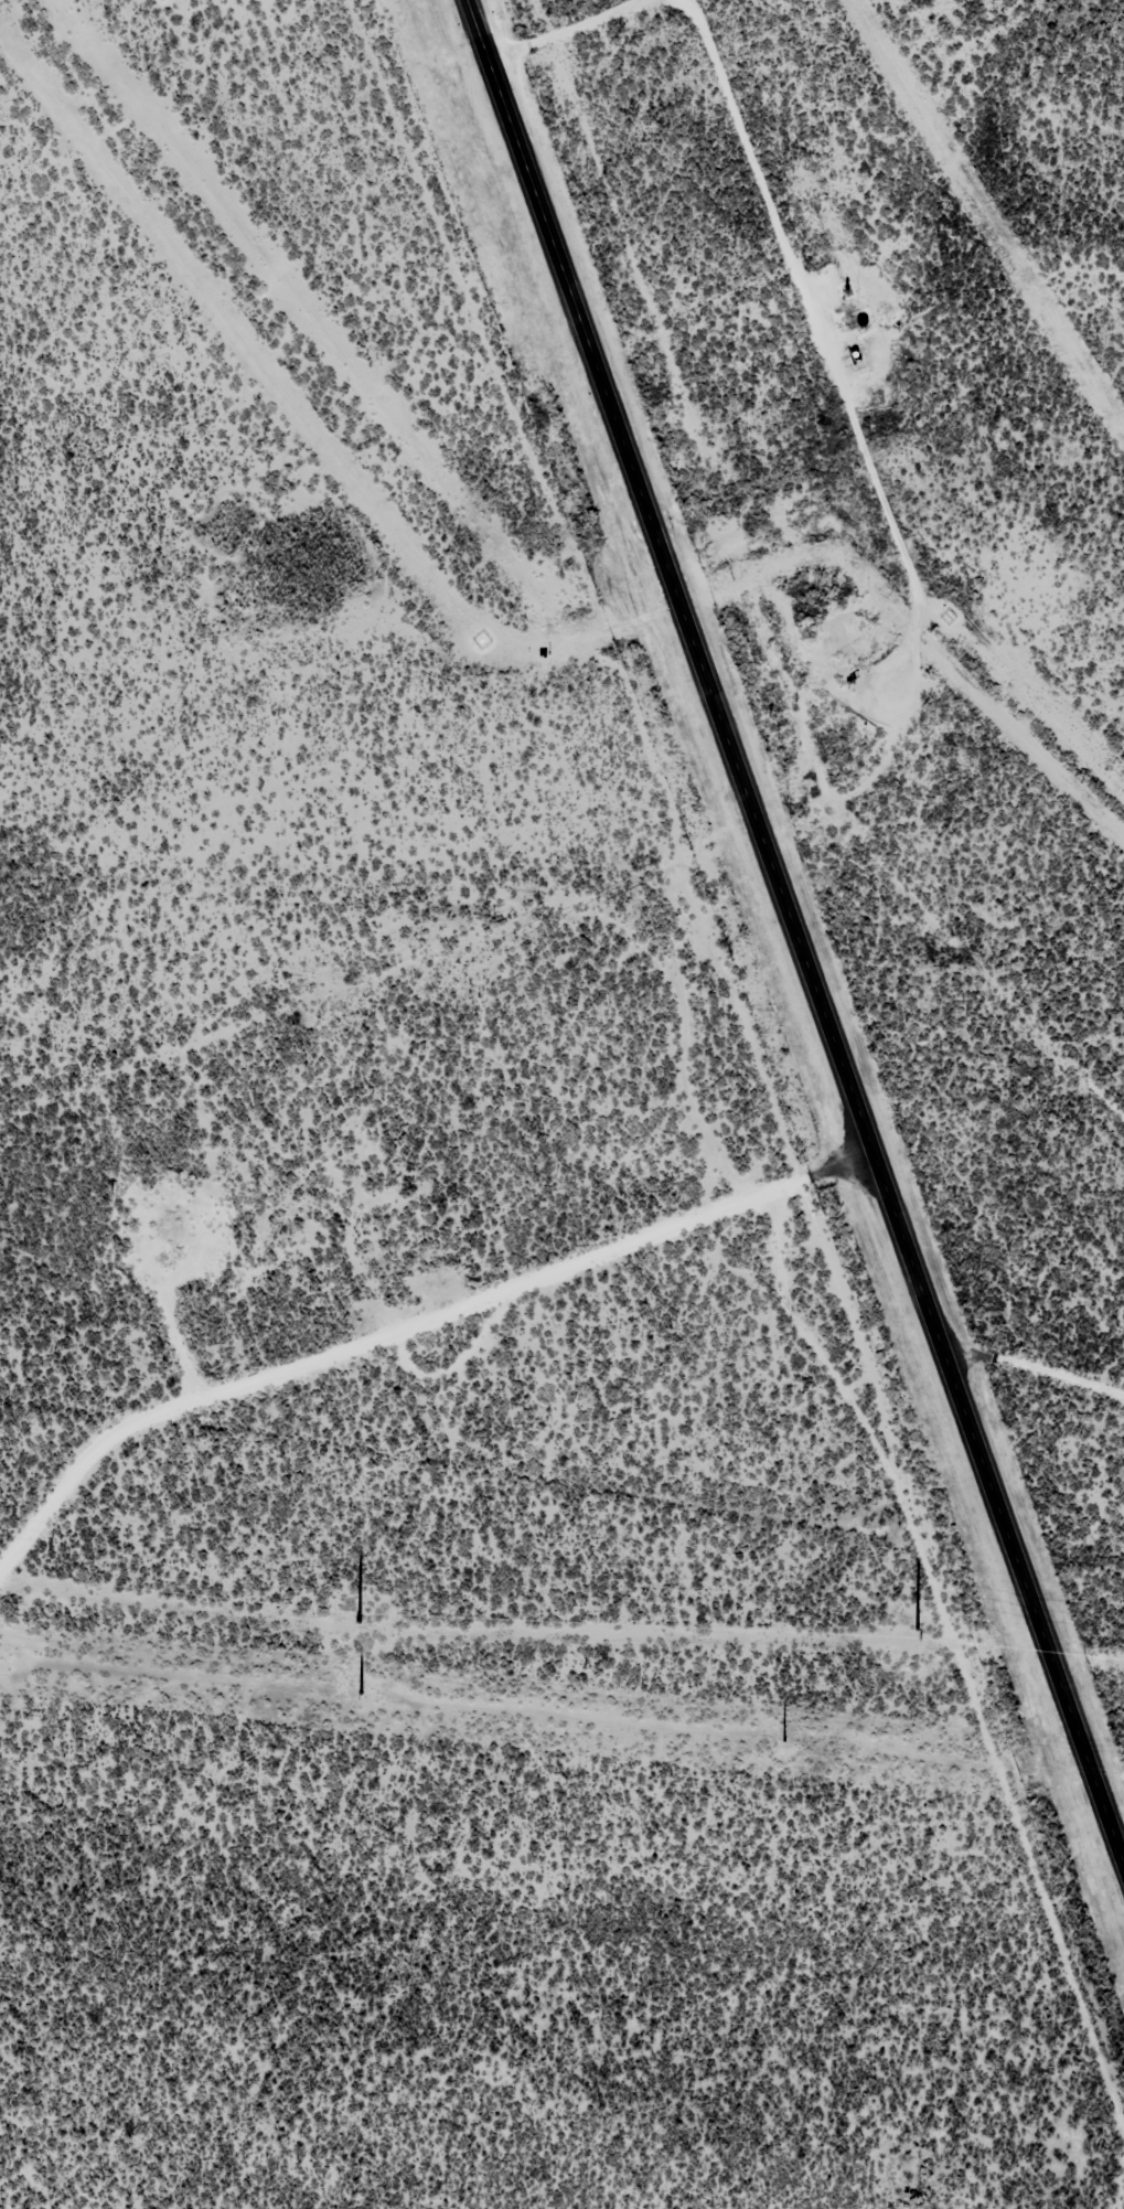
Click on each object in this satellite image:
road: (794, 950)
road: (370, 1353)
power tower: (356, 1619)
power tower: (913, 1626)
road: (927, 1663)
power tower: (358, 1690)
power tower: (782, 1739)

